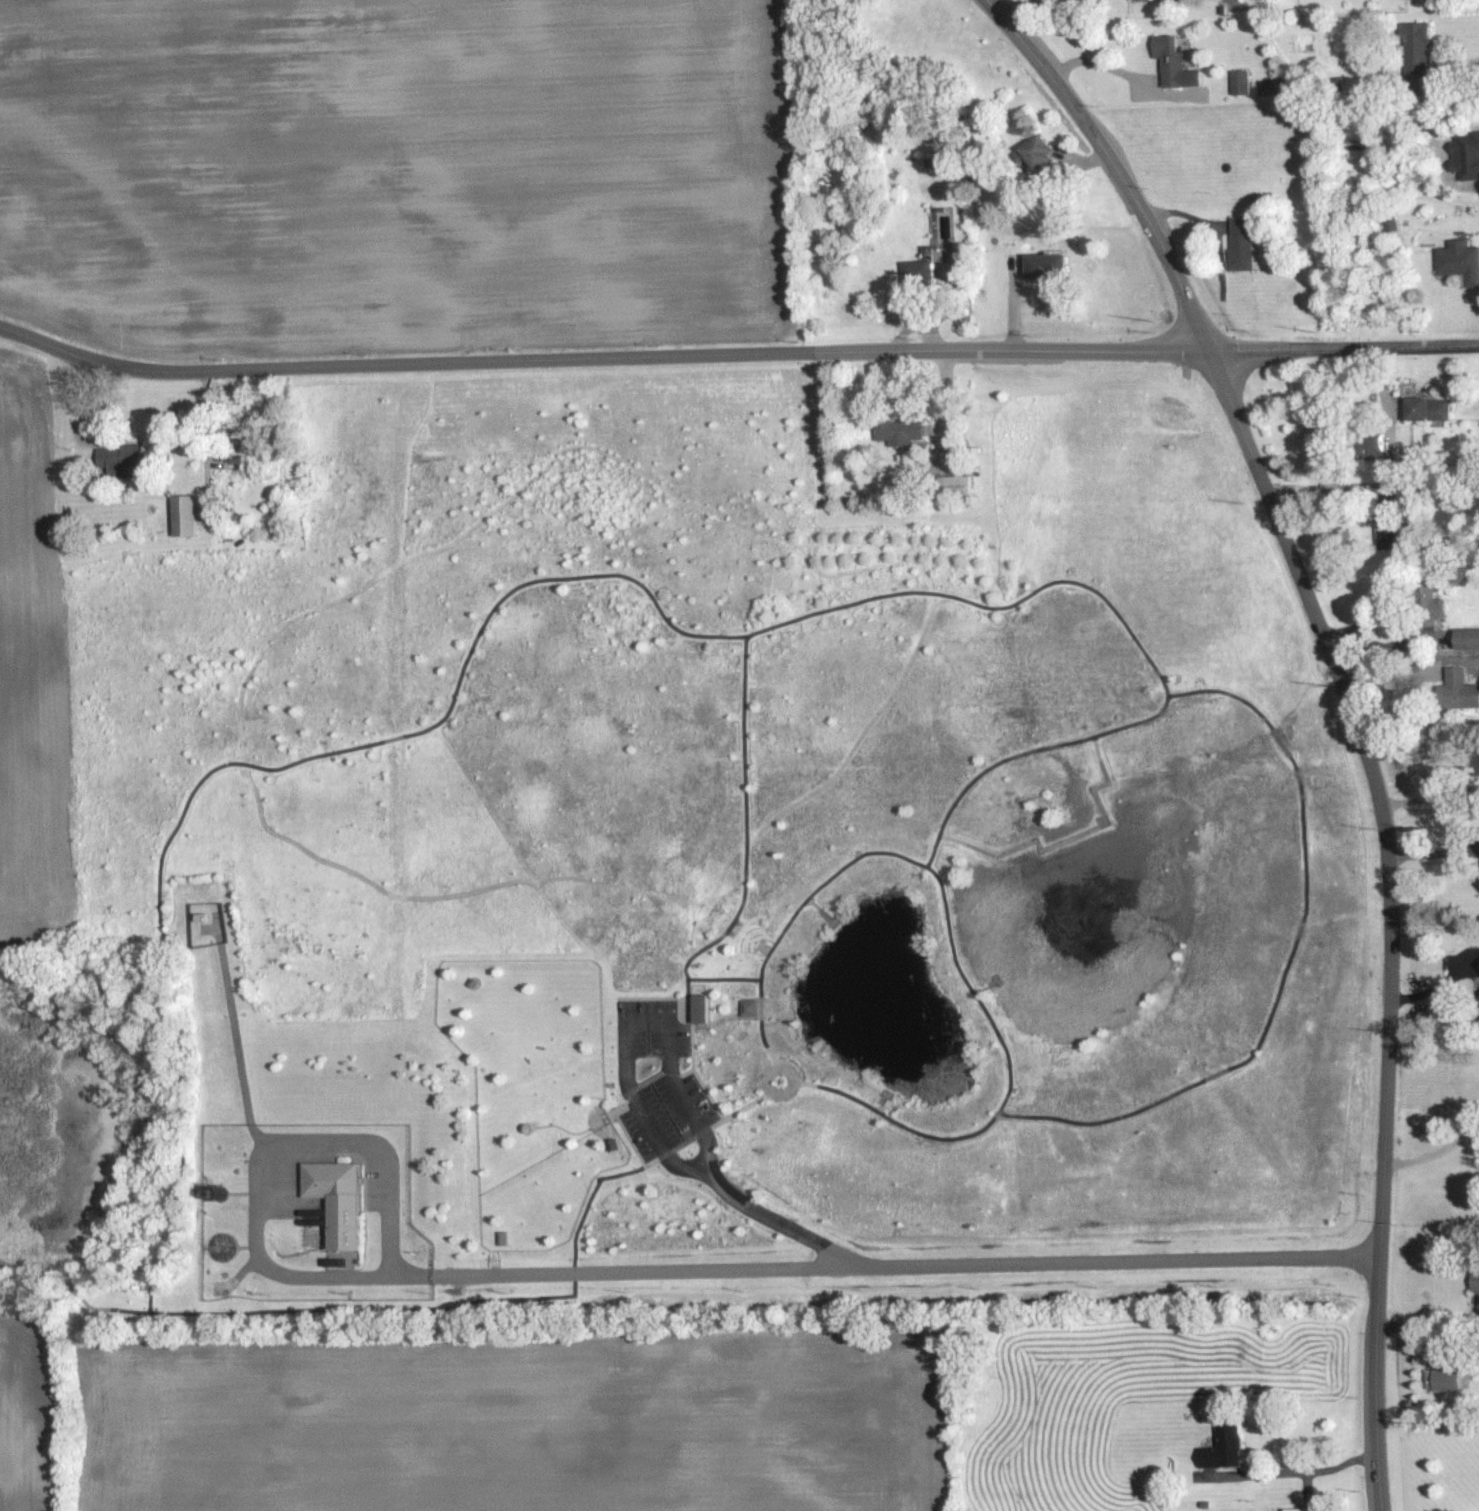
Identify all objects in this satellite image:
road: (987, 0)
building: (1421, 48)
building: (1179, 62)
road: (1104, 68)
road: (1454, 68)
building: (1243, 82)
building: (1041, 152)
road: (1112, 162)
building: (1246, 244)
building: (1461, 260)
building: (1049, 266)
building: (920, 272)
road: (905, 349)
road: (162, 370)
building: (1431, 409)
building: (901, 434)
building: (252, 444)
building: (1381, 451)
building: (124, 461)
building: (186, 516)
road: (569, 578)
building: (1469, 639)
road: (1390, 677)
building: (1462, 690)
road: (246, 768)
road: (1429, 799)
road: (744, 827)
road: (1068, 838)
park: (700, 882)
road: (547, 888)
road: (1391, 911)
building: (199, 916)
road: (208, 928)
road: (954, 949)
road: (1289, 961)
road: (723, 977)
building: (696, 1004)
building: (750, 1007)
road: (634, 1010)
road: (234, 1030)
road: (787, 1070)
road: (693, 1071)
parking lot: (657, 1078)
road: (705, 1127)
road: (319, 1139)
road: (1431, 1150)
road: (696, 1164)
parking lot: (275, 1180)
building: (335, 1199)
road: (775, 1221)
road: (389, 1244)
road: (905, 1266)
road: (322, 1277)
building: (1477, 1281)
road: (401, 1309)
building: (1449, 1378)
building: (1220, 1446)
road: (1290, 1471)
building: (1303, 1509)

